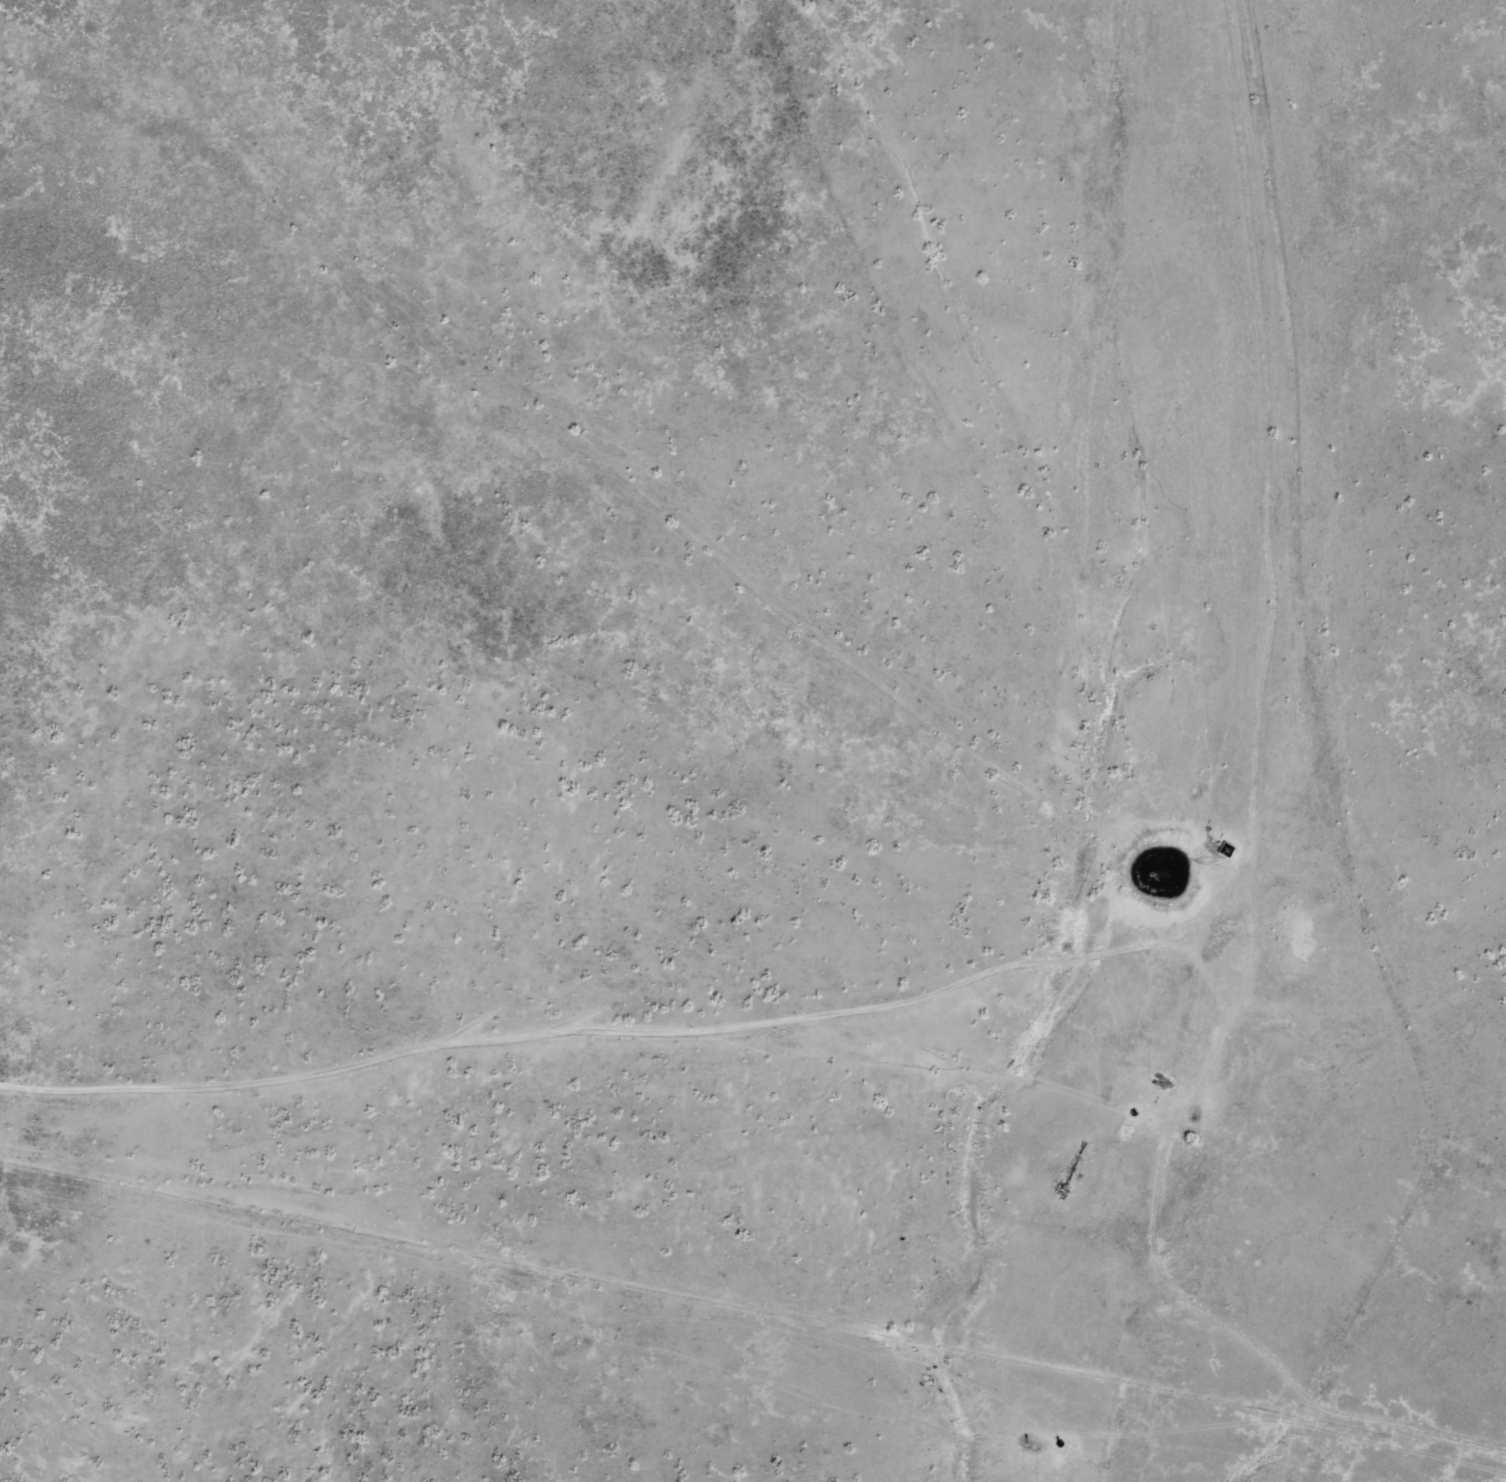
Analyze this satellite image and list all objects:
road: (1308, 771)

